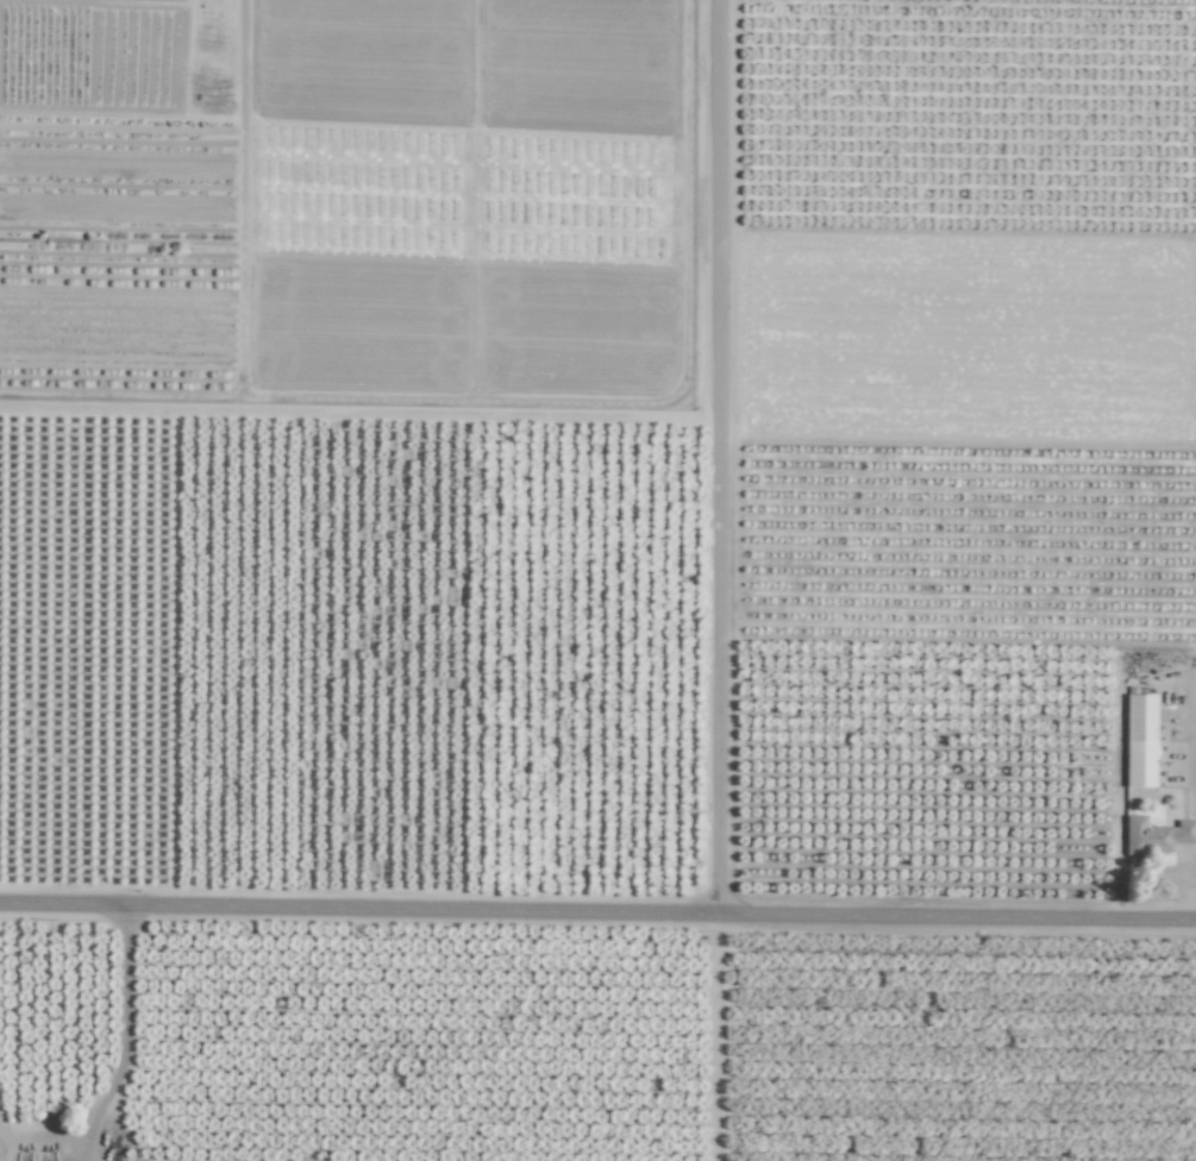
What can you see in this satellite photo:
crop: (343, 182)
road: (242, 294)
road: (633, 402)
road: (721, 460)
building: (1139, 740)
road: (1192, 757)
building: (1154, 835)
road: (597, 918)
road: (123, 1041)
road: (720, 1041)
road: (42, 1136)

